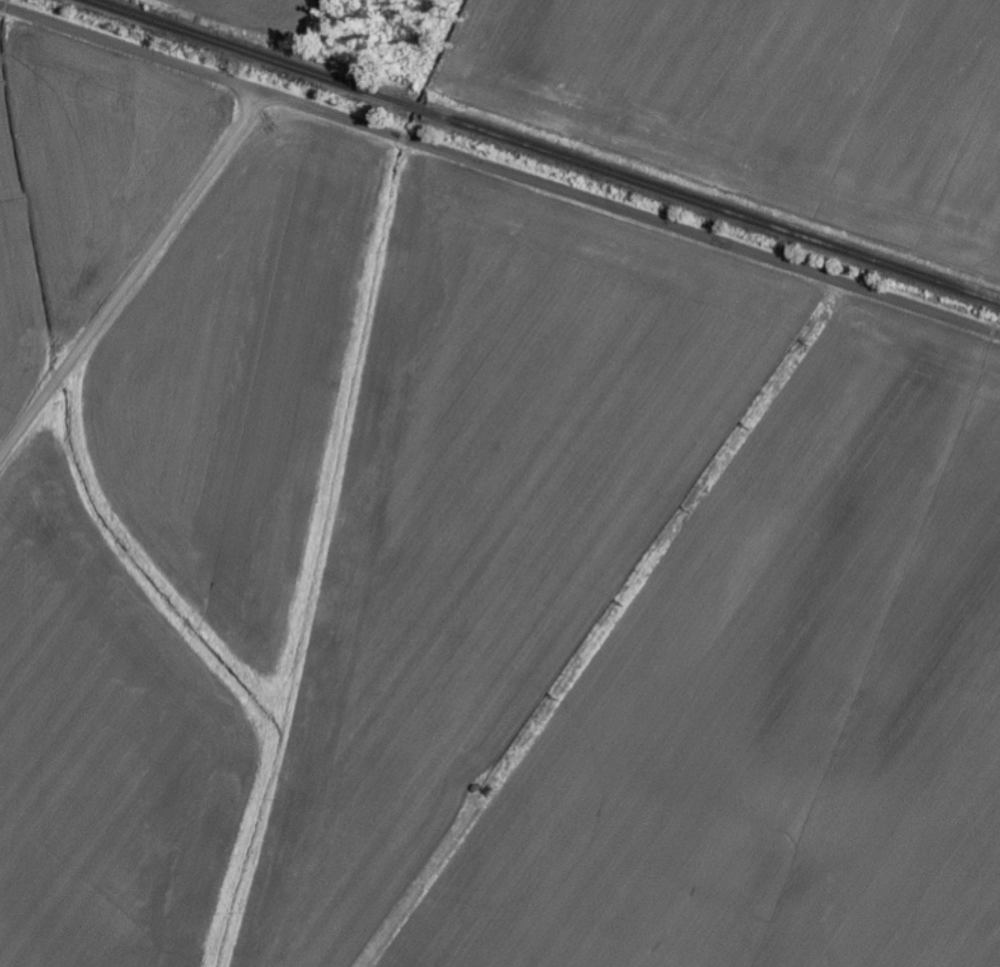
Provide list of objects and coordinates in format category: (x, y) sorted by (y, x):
railway: (546, 150)
road: (499, 170)
road: (134, 276)
road: (12, 375)

